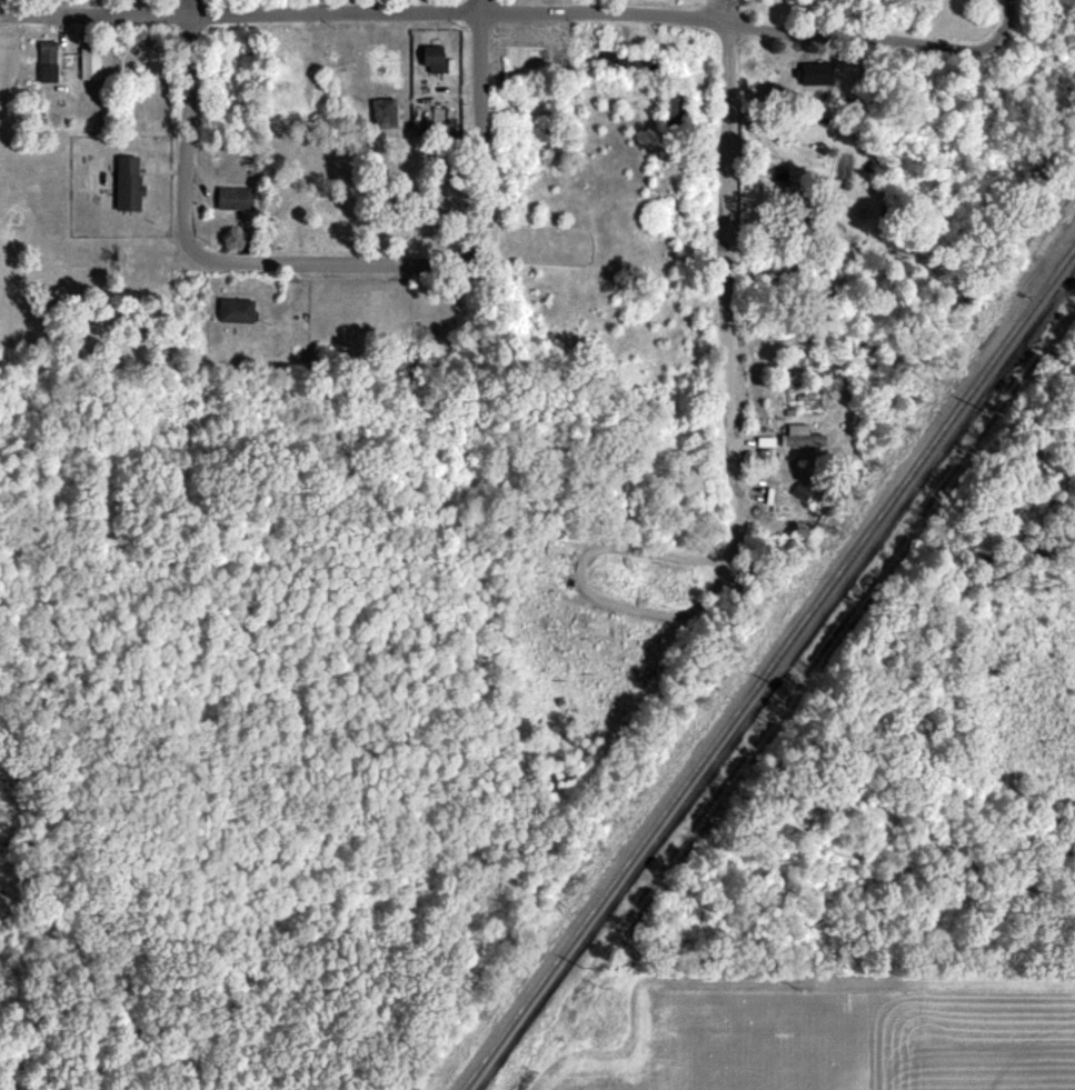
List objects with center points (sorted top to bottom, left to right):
road: (594, 6)
road: (501, 10)
road: (1009, 22)
building: (431, 60)
building: (48, 62)
building: (629, 62)
building: (90, 64)
building: (529, 66)
building: (384, 69)
building: (816, 74)
building: (674, 107)
building: (384, 113)
road: (189, 129)
road: (484, 130)
building: (780, 176)
building: (128, 184)
building: (235, 199)
road: (725, 261)
road: (335, 268)
building: (236, 311)
building: (803, 438)
building: (804, 494)
railway: (770, 672)

